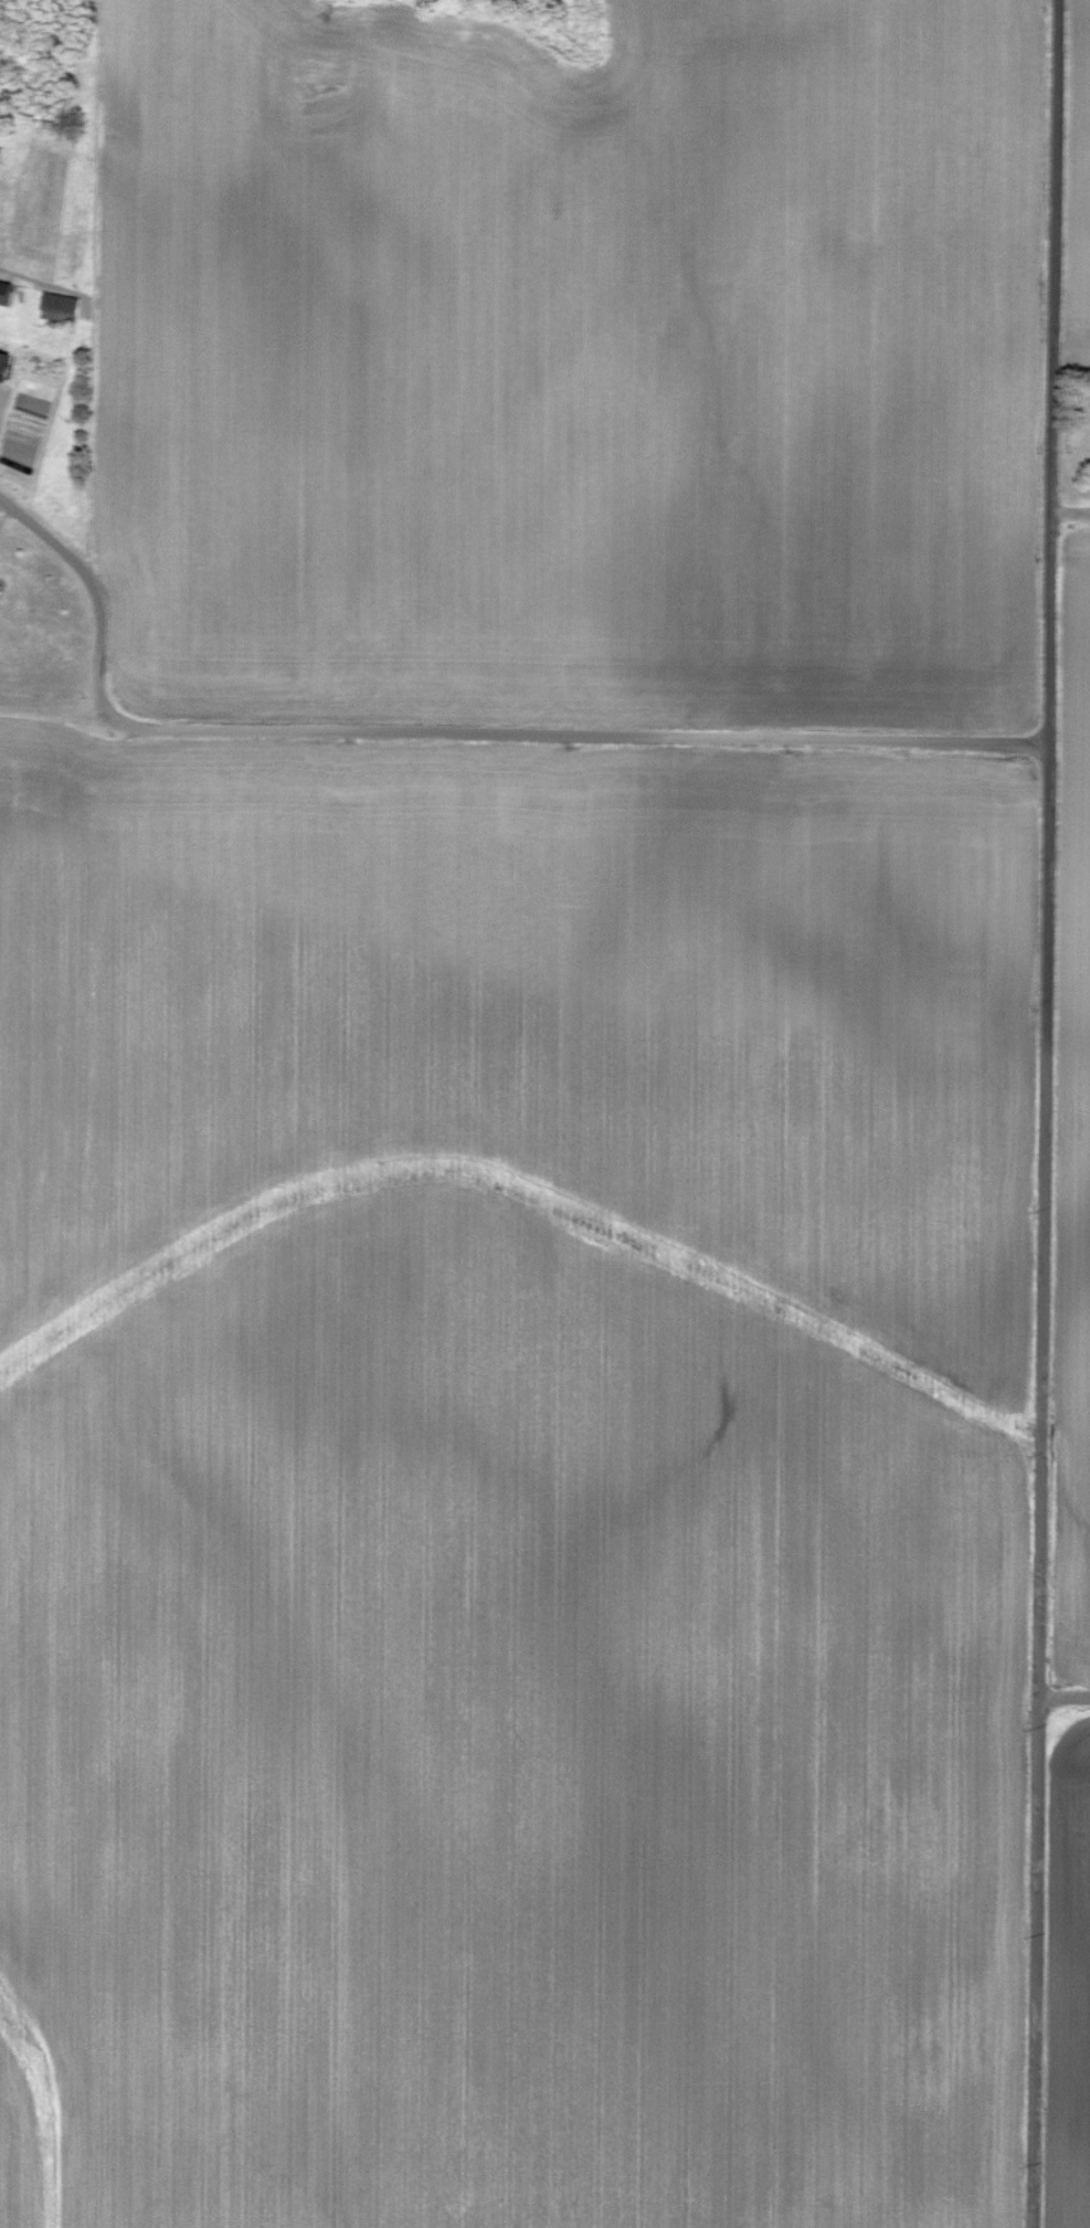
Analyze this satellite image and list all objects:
building: (2, 363)
road: (1072, 513)
road: (445, 728)
road: (1047, 1113)
road: (1065, 1697)

